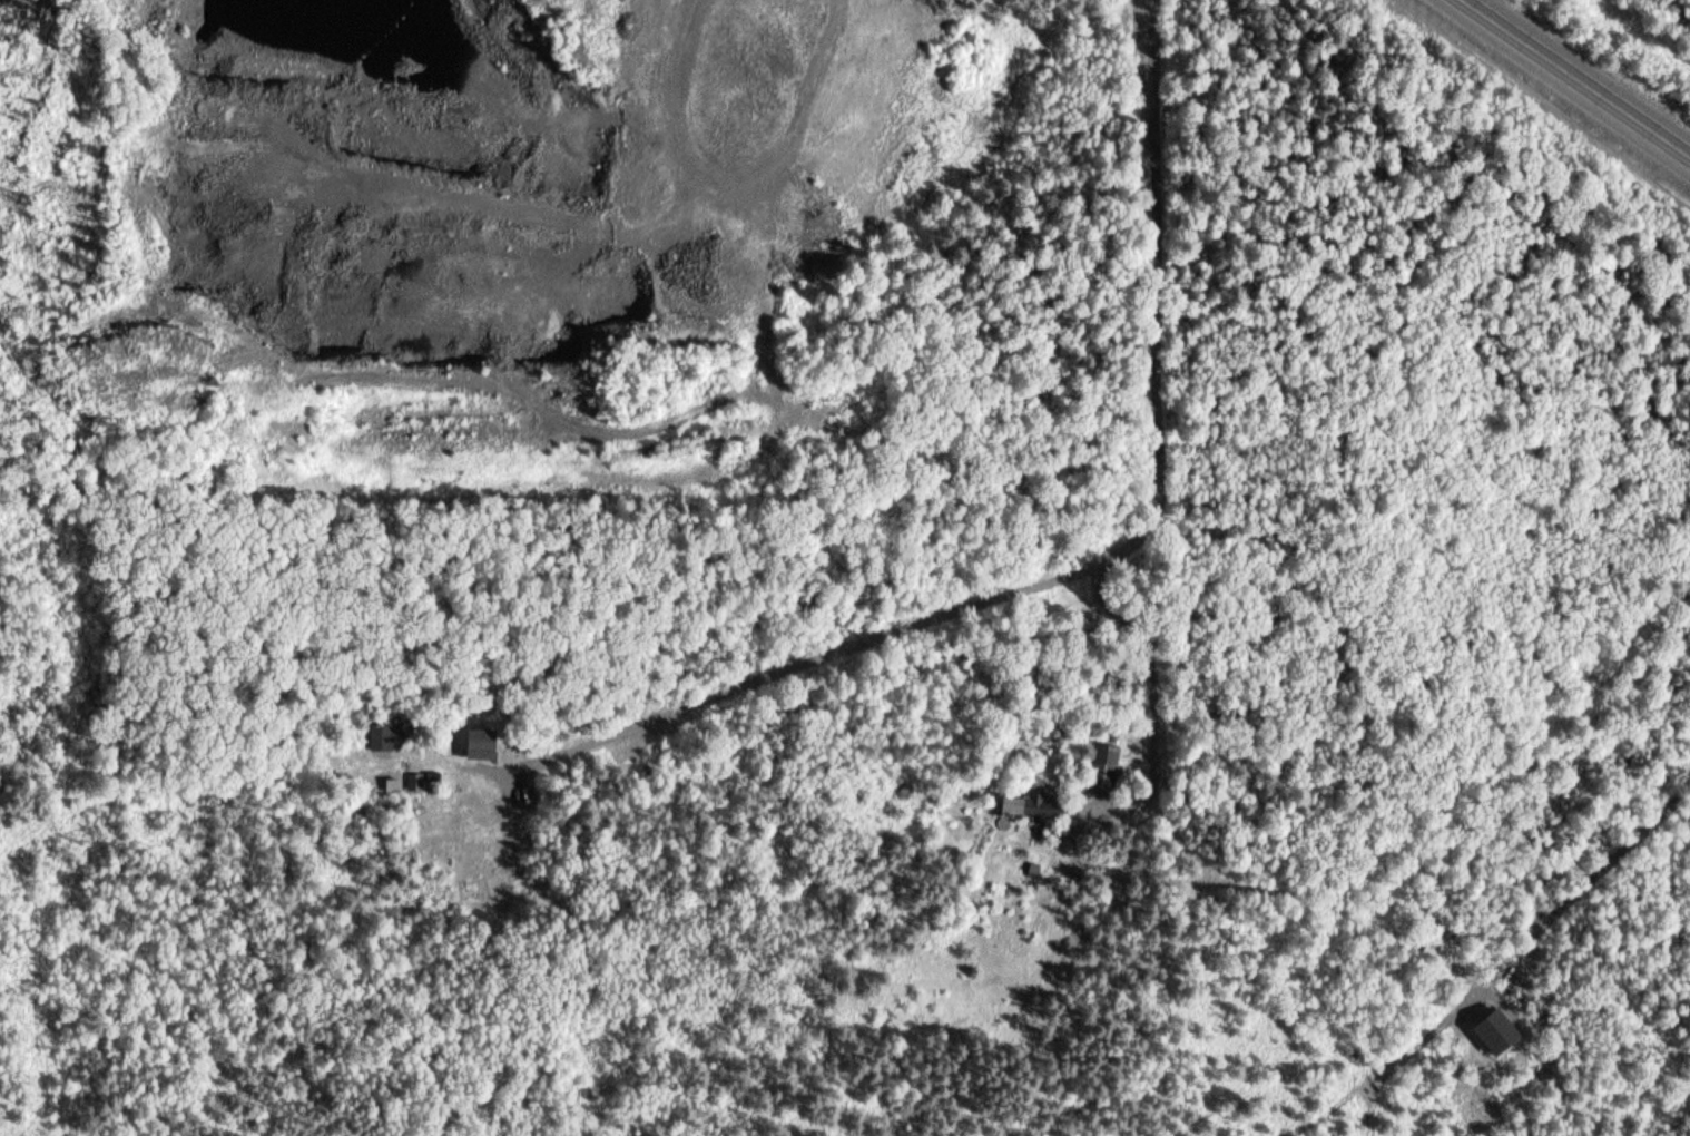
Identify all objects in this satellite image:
road: (1608, 37)
road: (1578, 79)
road: (1147, 459)
road: (798, 665)
building: (384, 735)
building: (471, 742)
building: (1102, 767)
building: (1020, 800)
road: (1487, 954)

